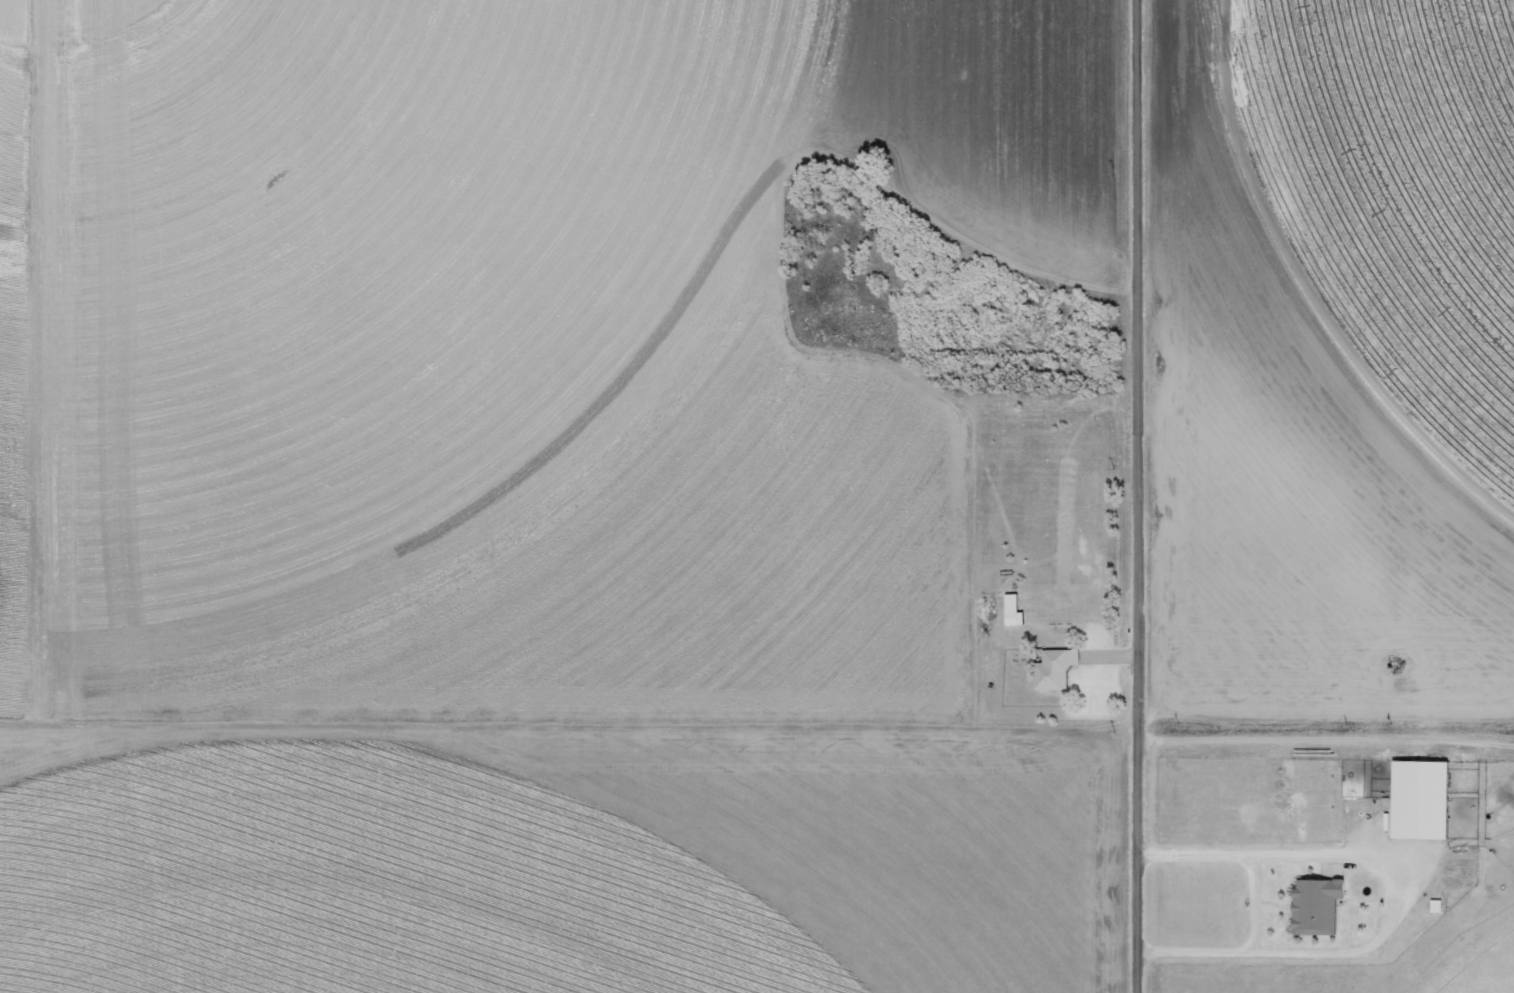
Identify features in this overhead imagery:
road: (1133, 496)
building: (1009, 611)
building: (1051, 669)
road: (759, 724)
building: (1416, 801)
road: (1256, 905)
road: (1383, 905)
building: (1313, 907)

